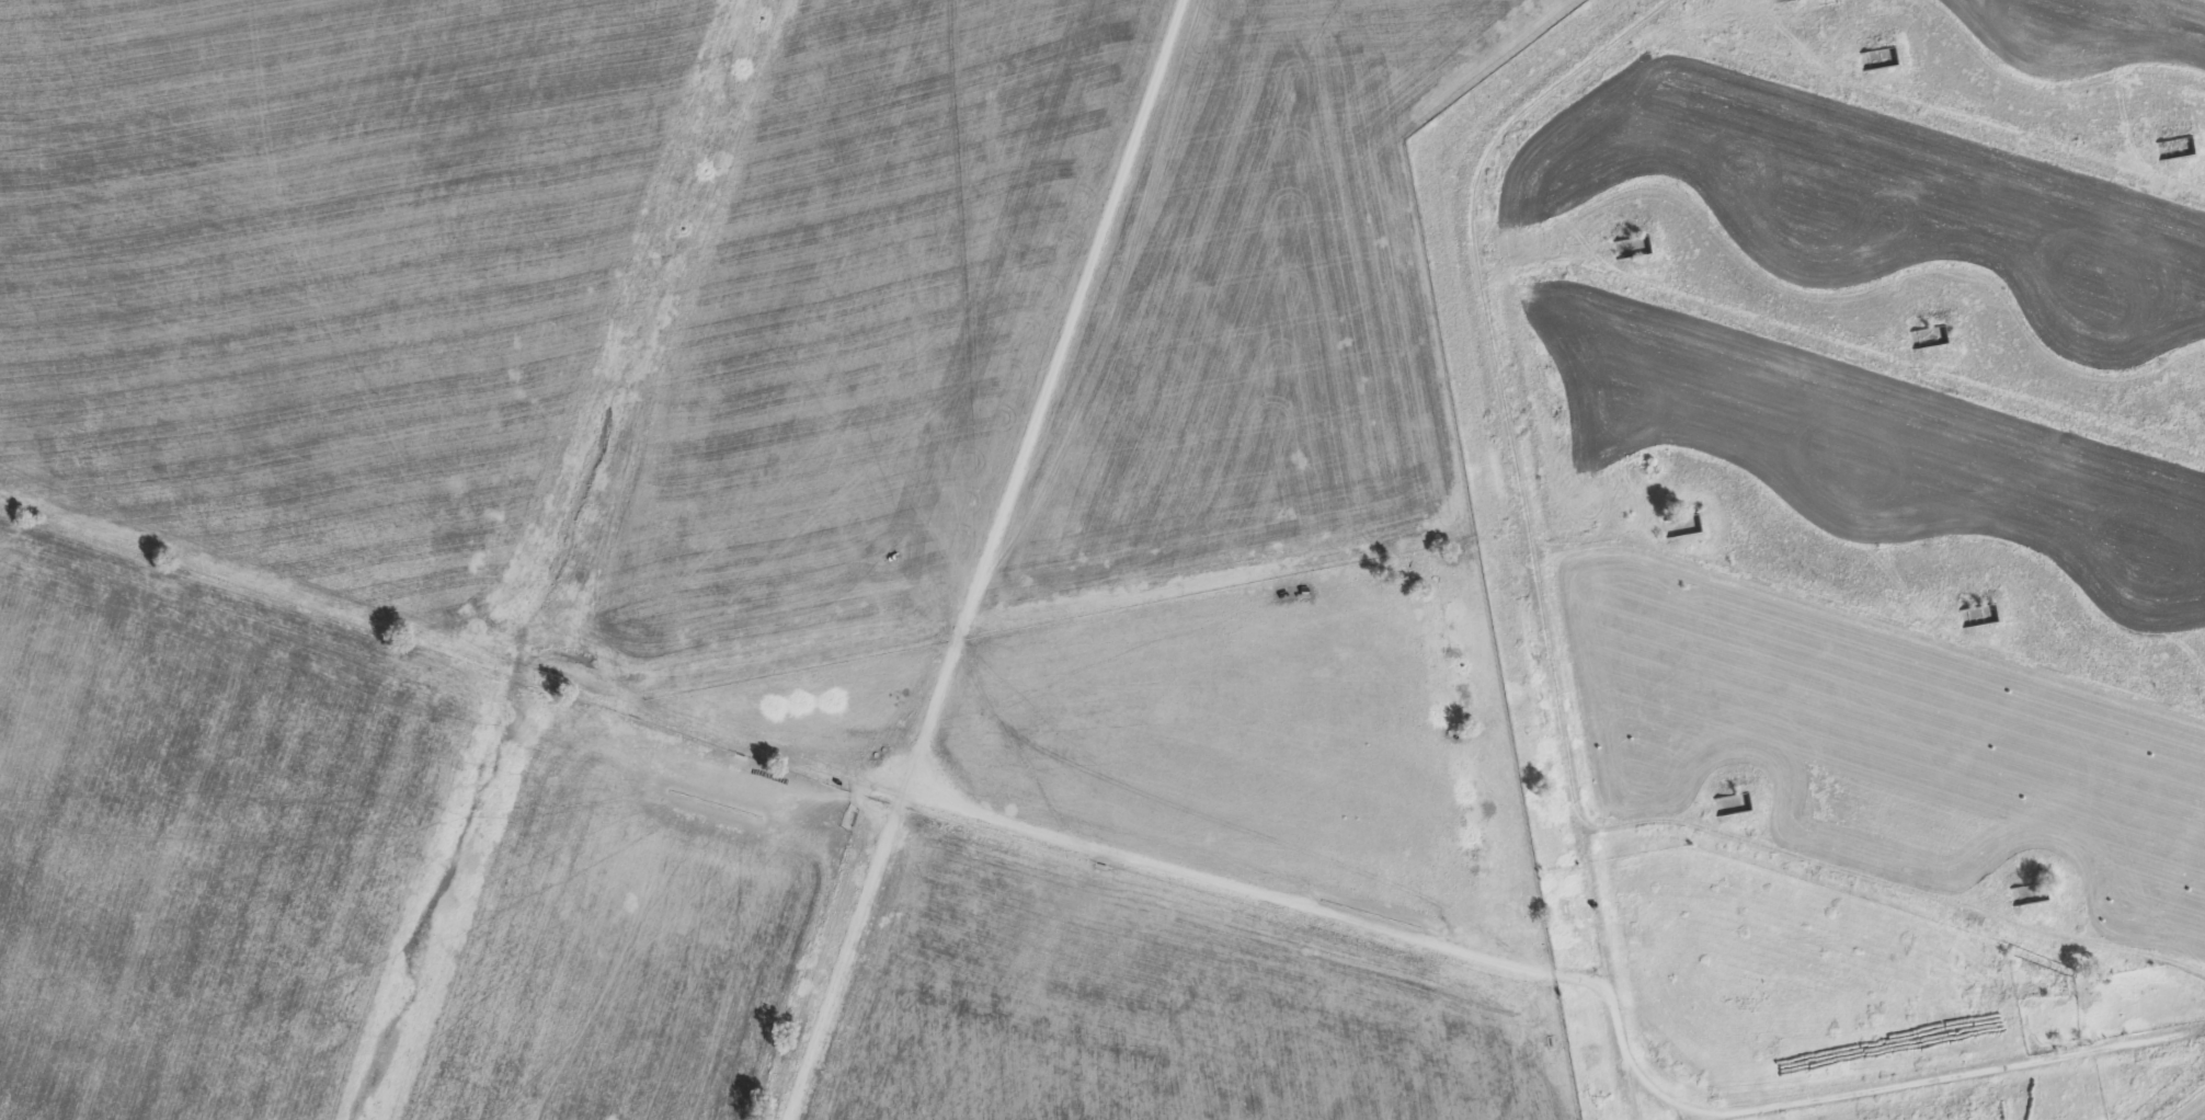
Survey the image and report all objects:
building: (1876, 57)
road: (1924, 105)
building: (2173, 147)
building: (1928, 336)
road: (1842, 379)
road: (1526, 519)
road: (999, 560)
road: (1867, 641)
building: (1733, 803)
road: (1267, 894)
road: (1894, 905)
road: (1913, 1085)
road: (2189, 1108)
road: (1727, 1118)

